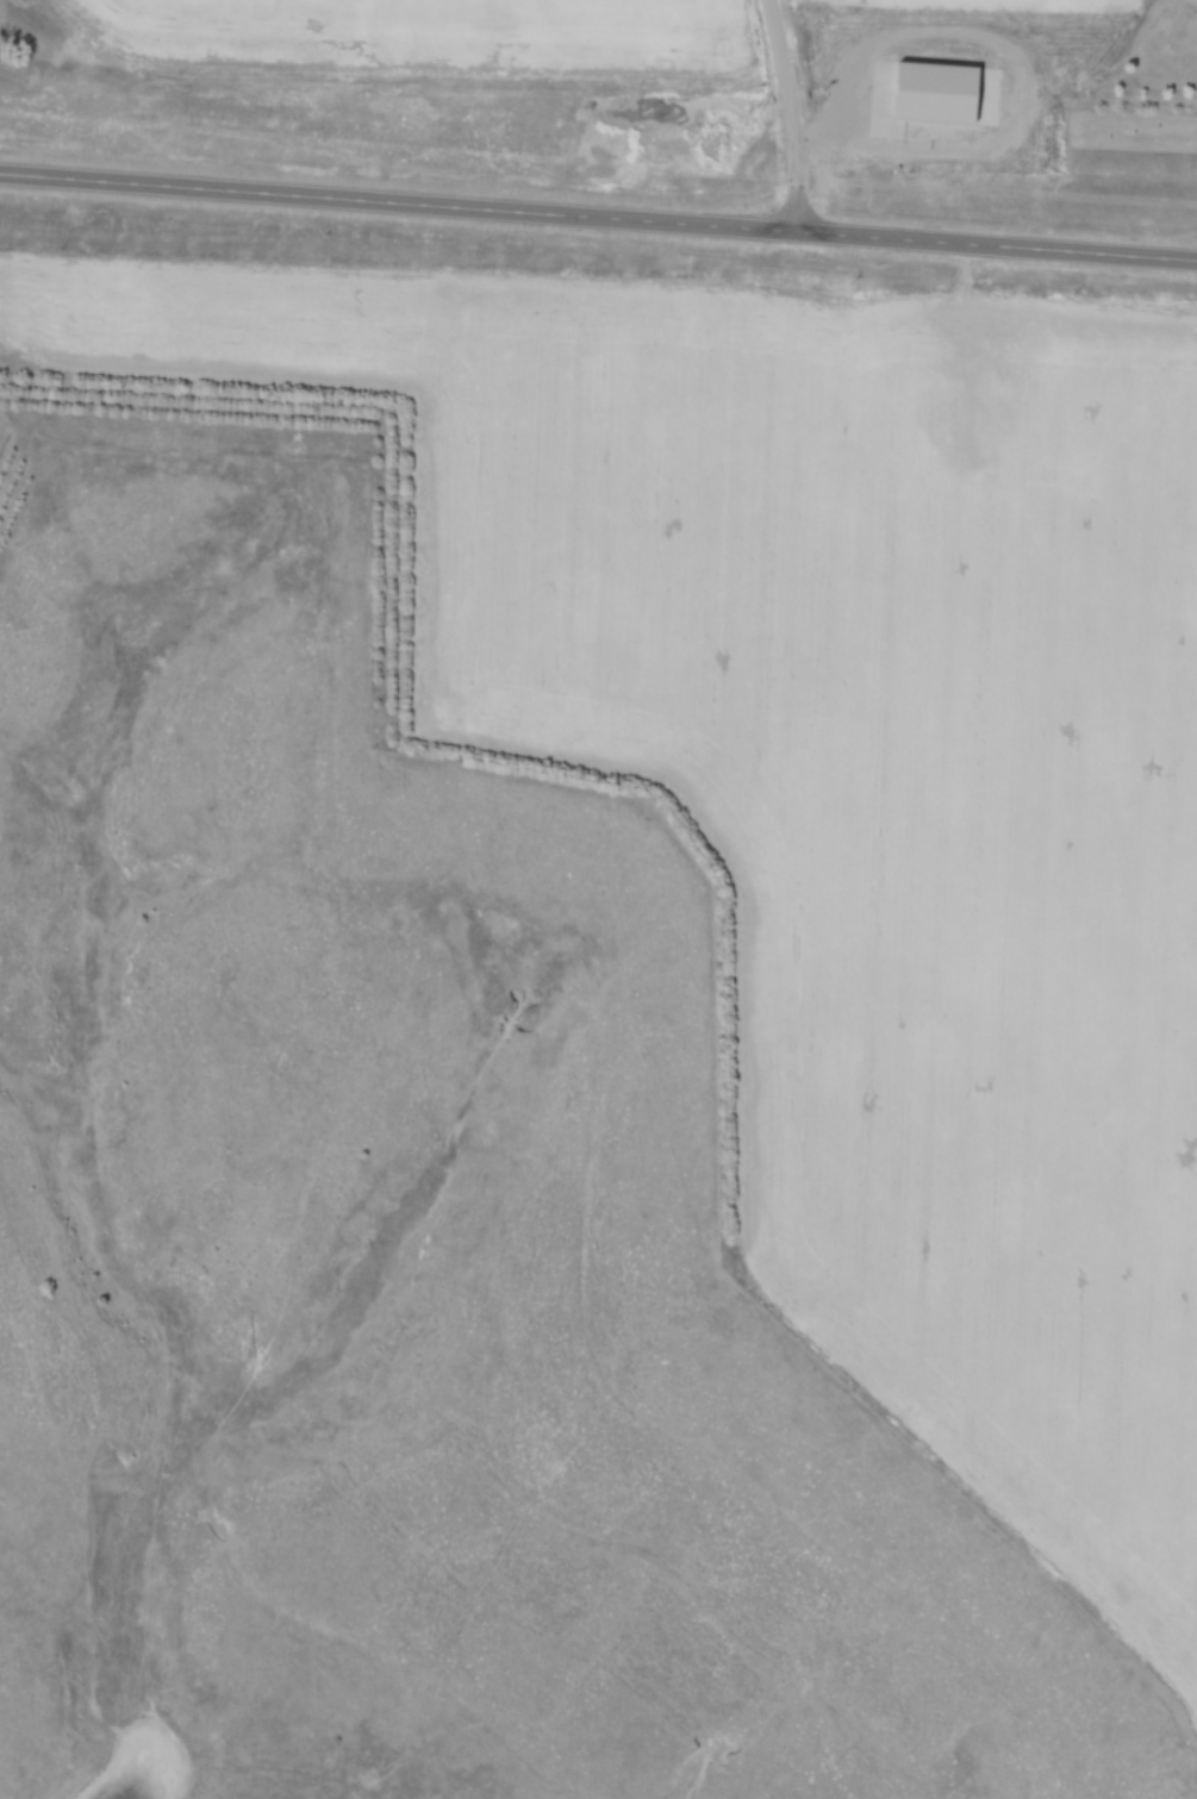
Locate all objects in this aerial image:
airport: (588, 92)
road: (797, 114)
road: (598, 215)
crop: (852, 782)

